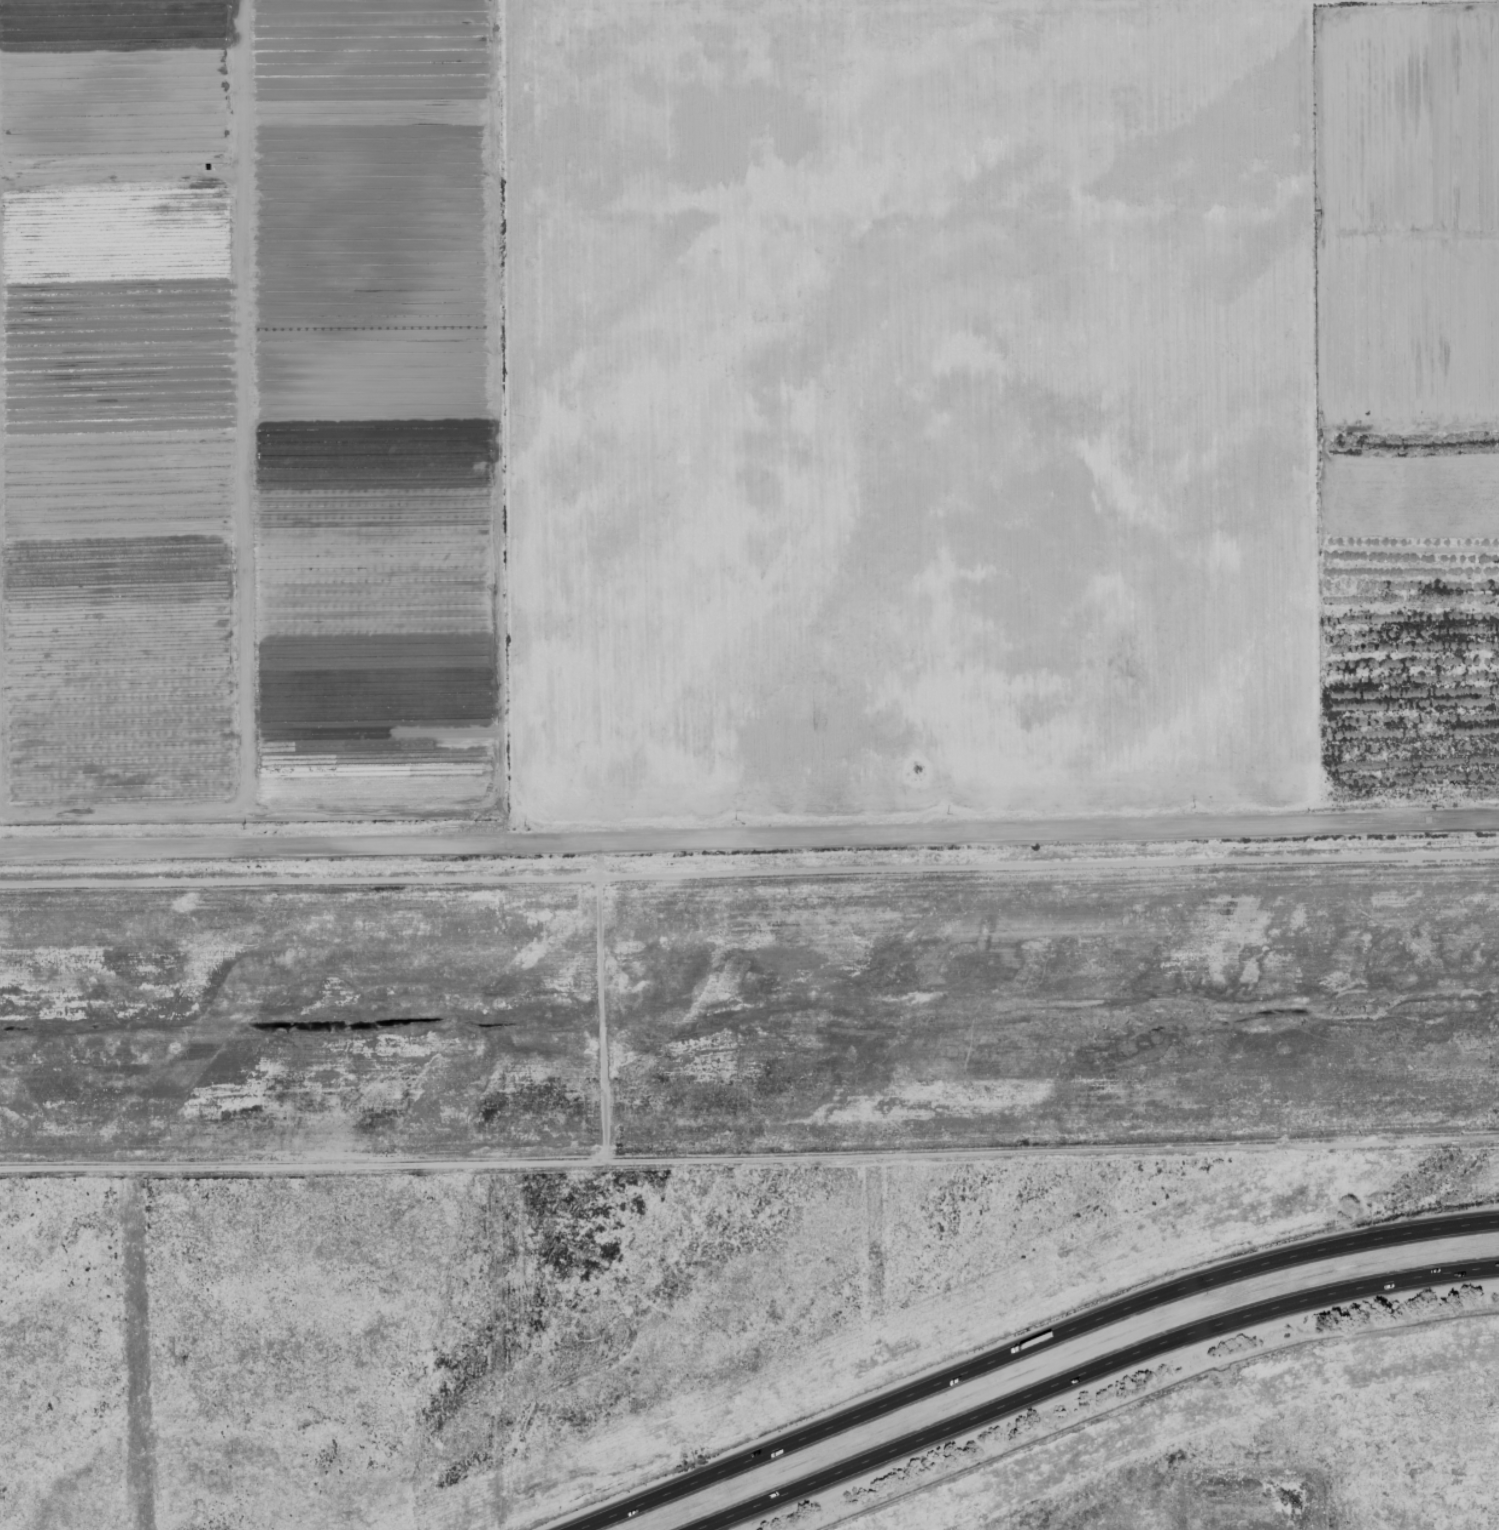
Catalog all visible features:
road: (749, 839)
road: (749, 1151)
road: (1029, 1347)
road: (1090, 1371)

